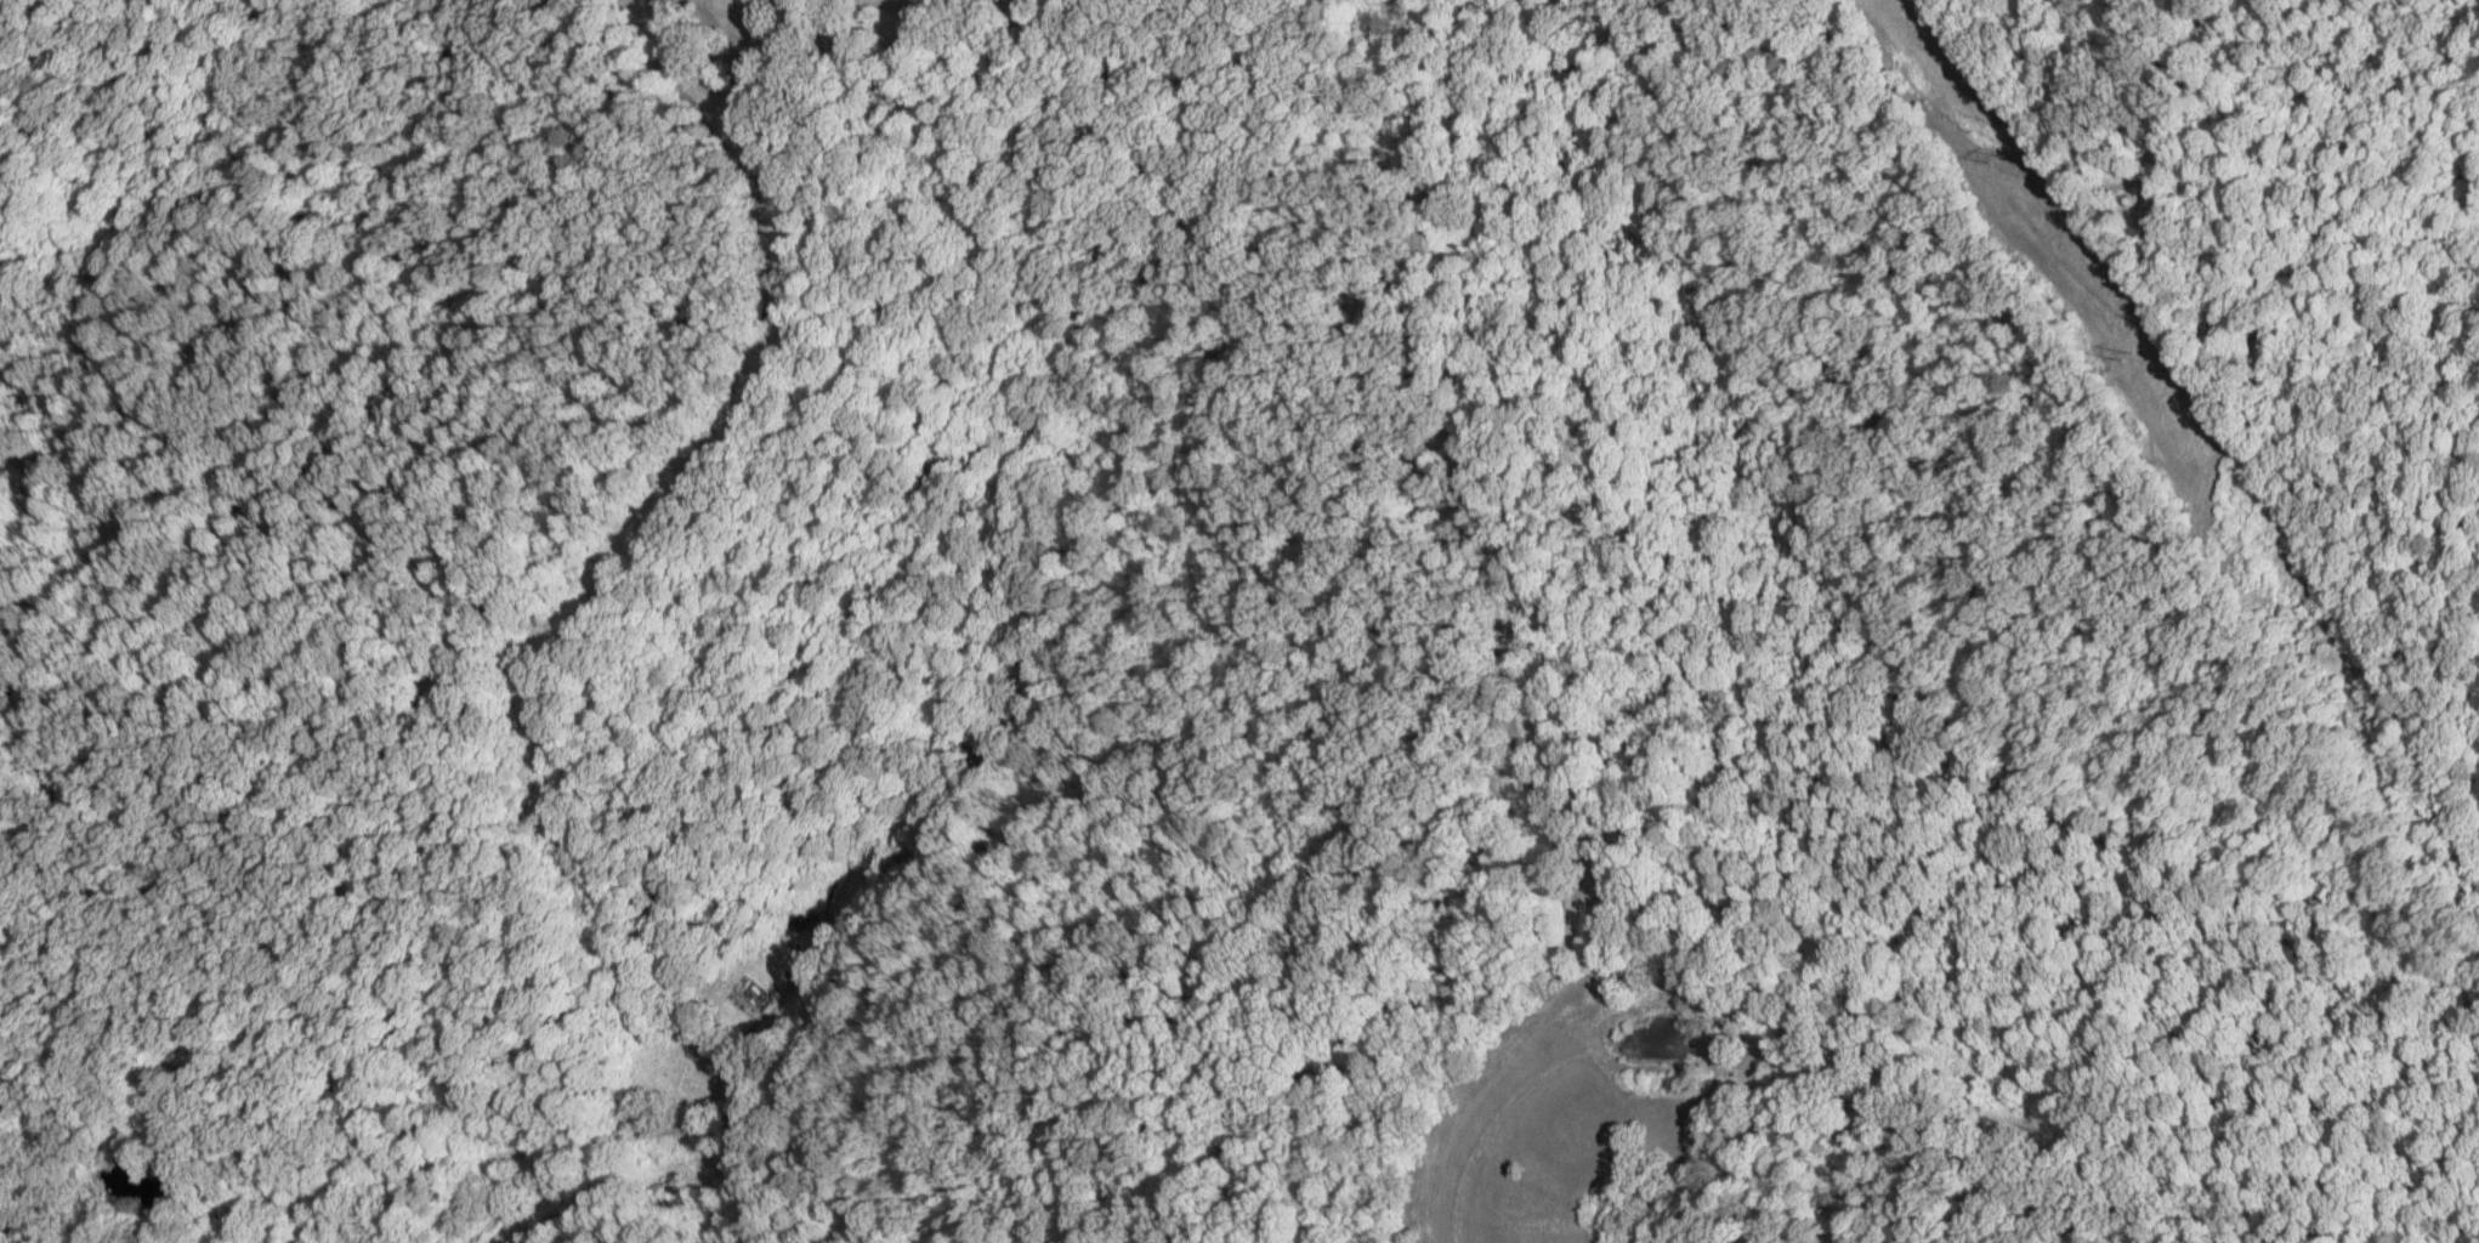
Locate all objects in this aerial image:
road: (1420, 1136)

